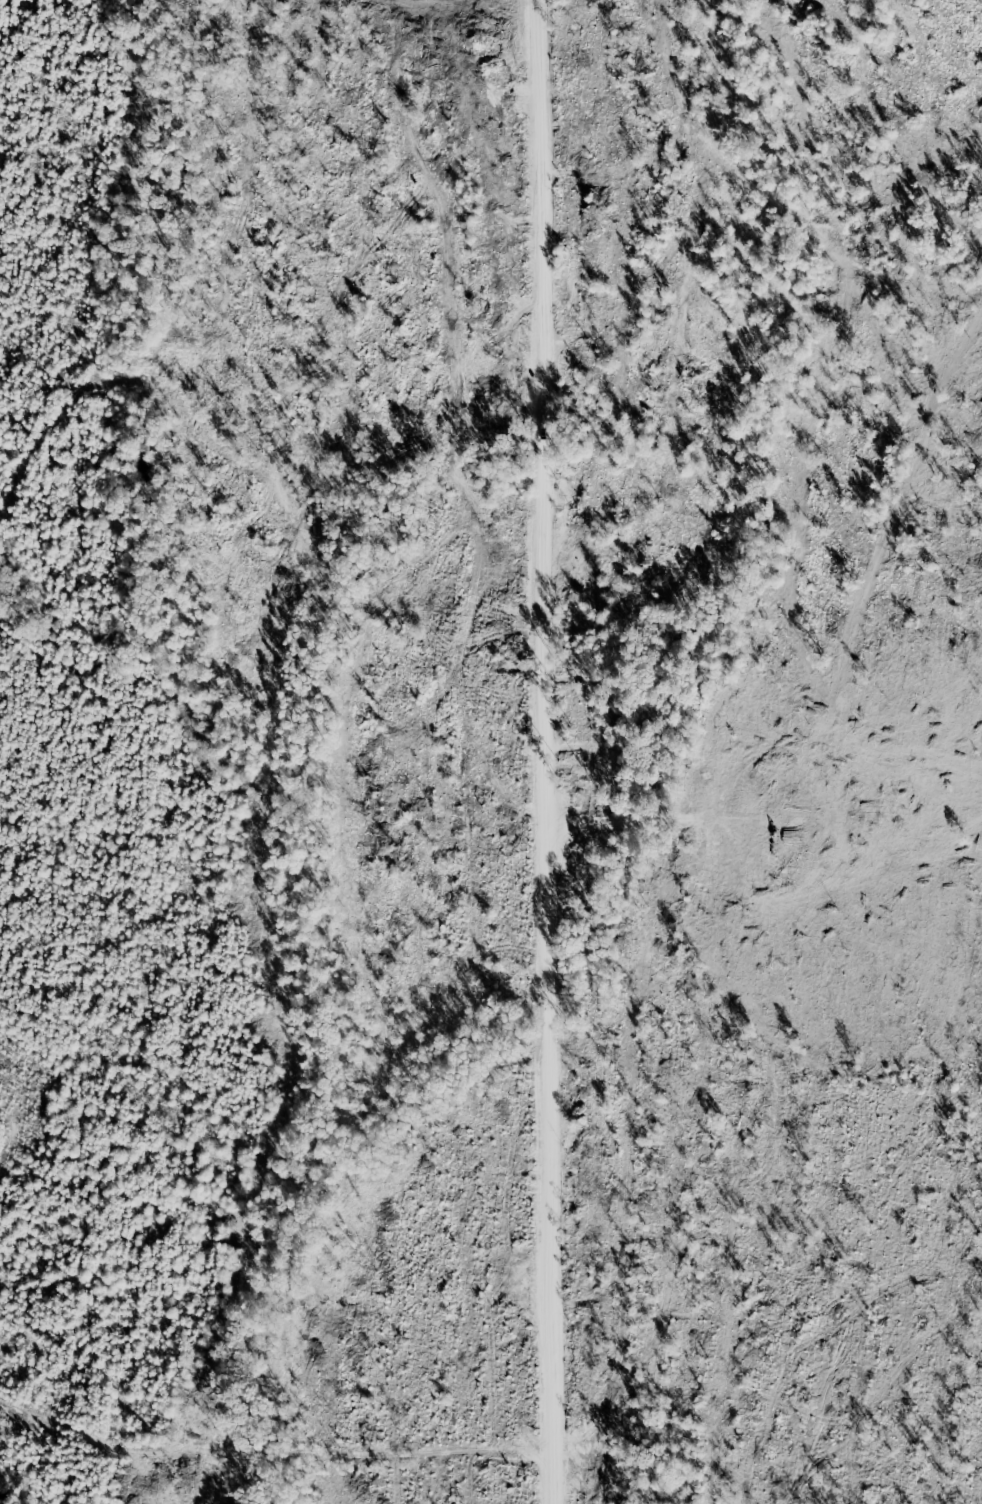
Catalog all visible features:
road: (584, 752)

